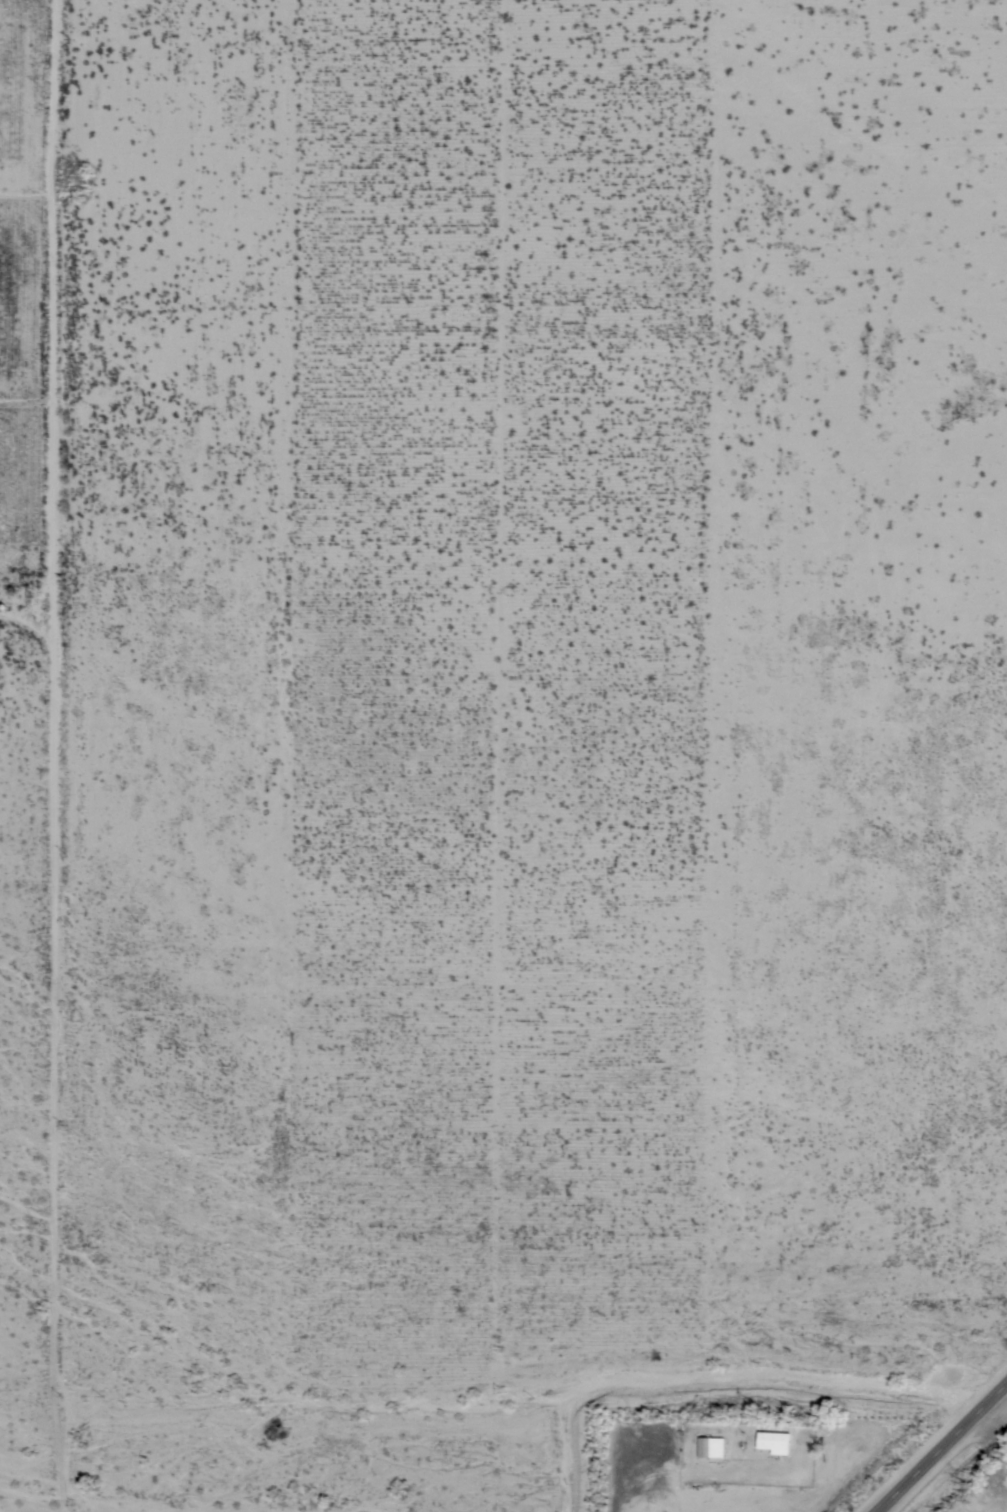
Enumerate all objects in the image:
road: (57, 756)
building: (773, 1442)
road: (938, 1443)
building: (710, 1447)

